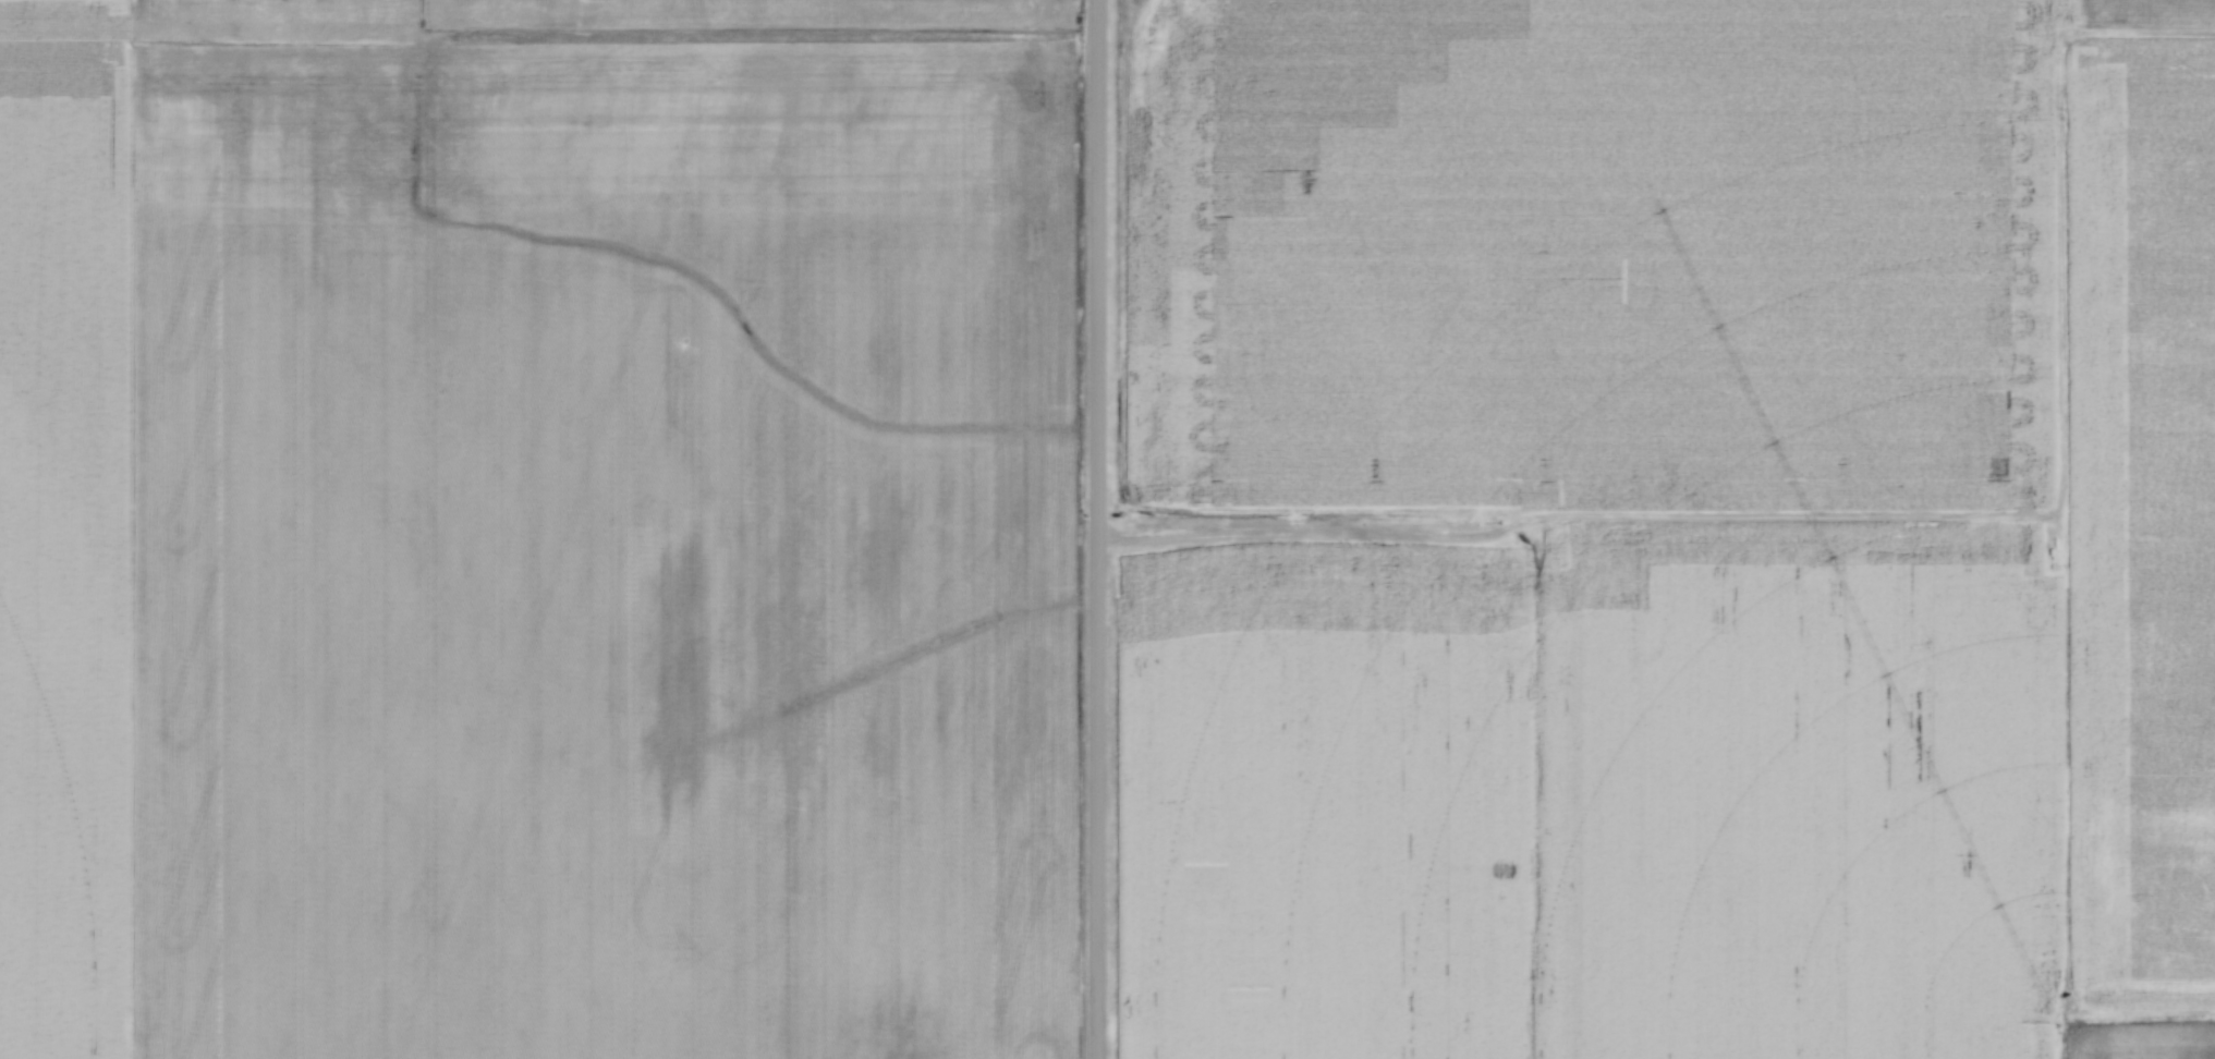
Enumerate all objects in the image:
road: (1098, 528)

